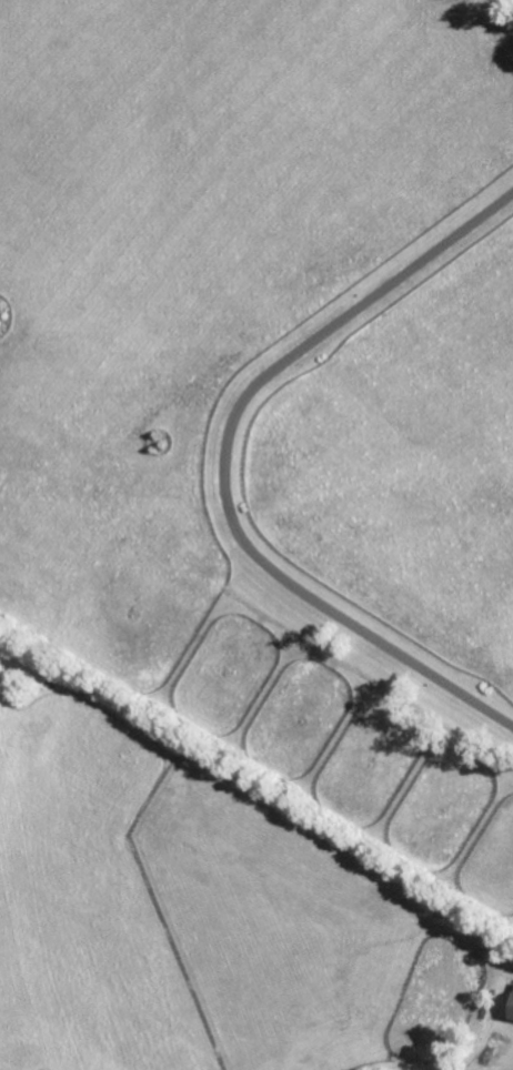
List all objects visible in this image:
road: (511, 1)
road: (230, 464)
building: (16, 496)
building: (500, 760)
building: (432, 764)
building: (512, 1013)

